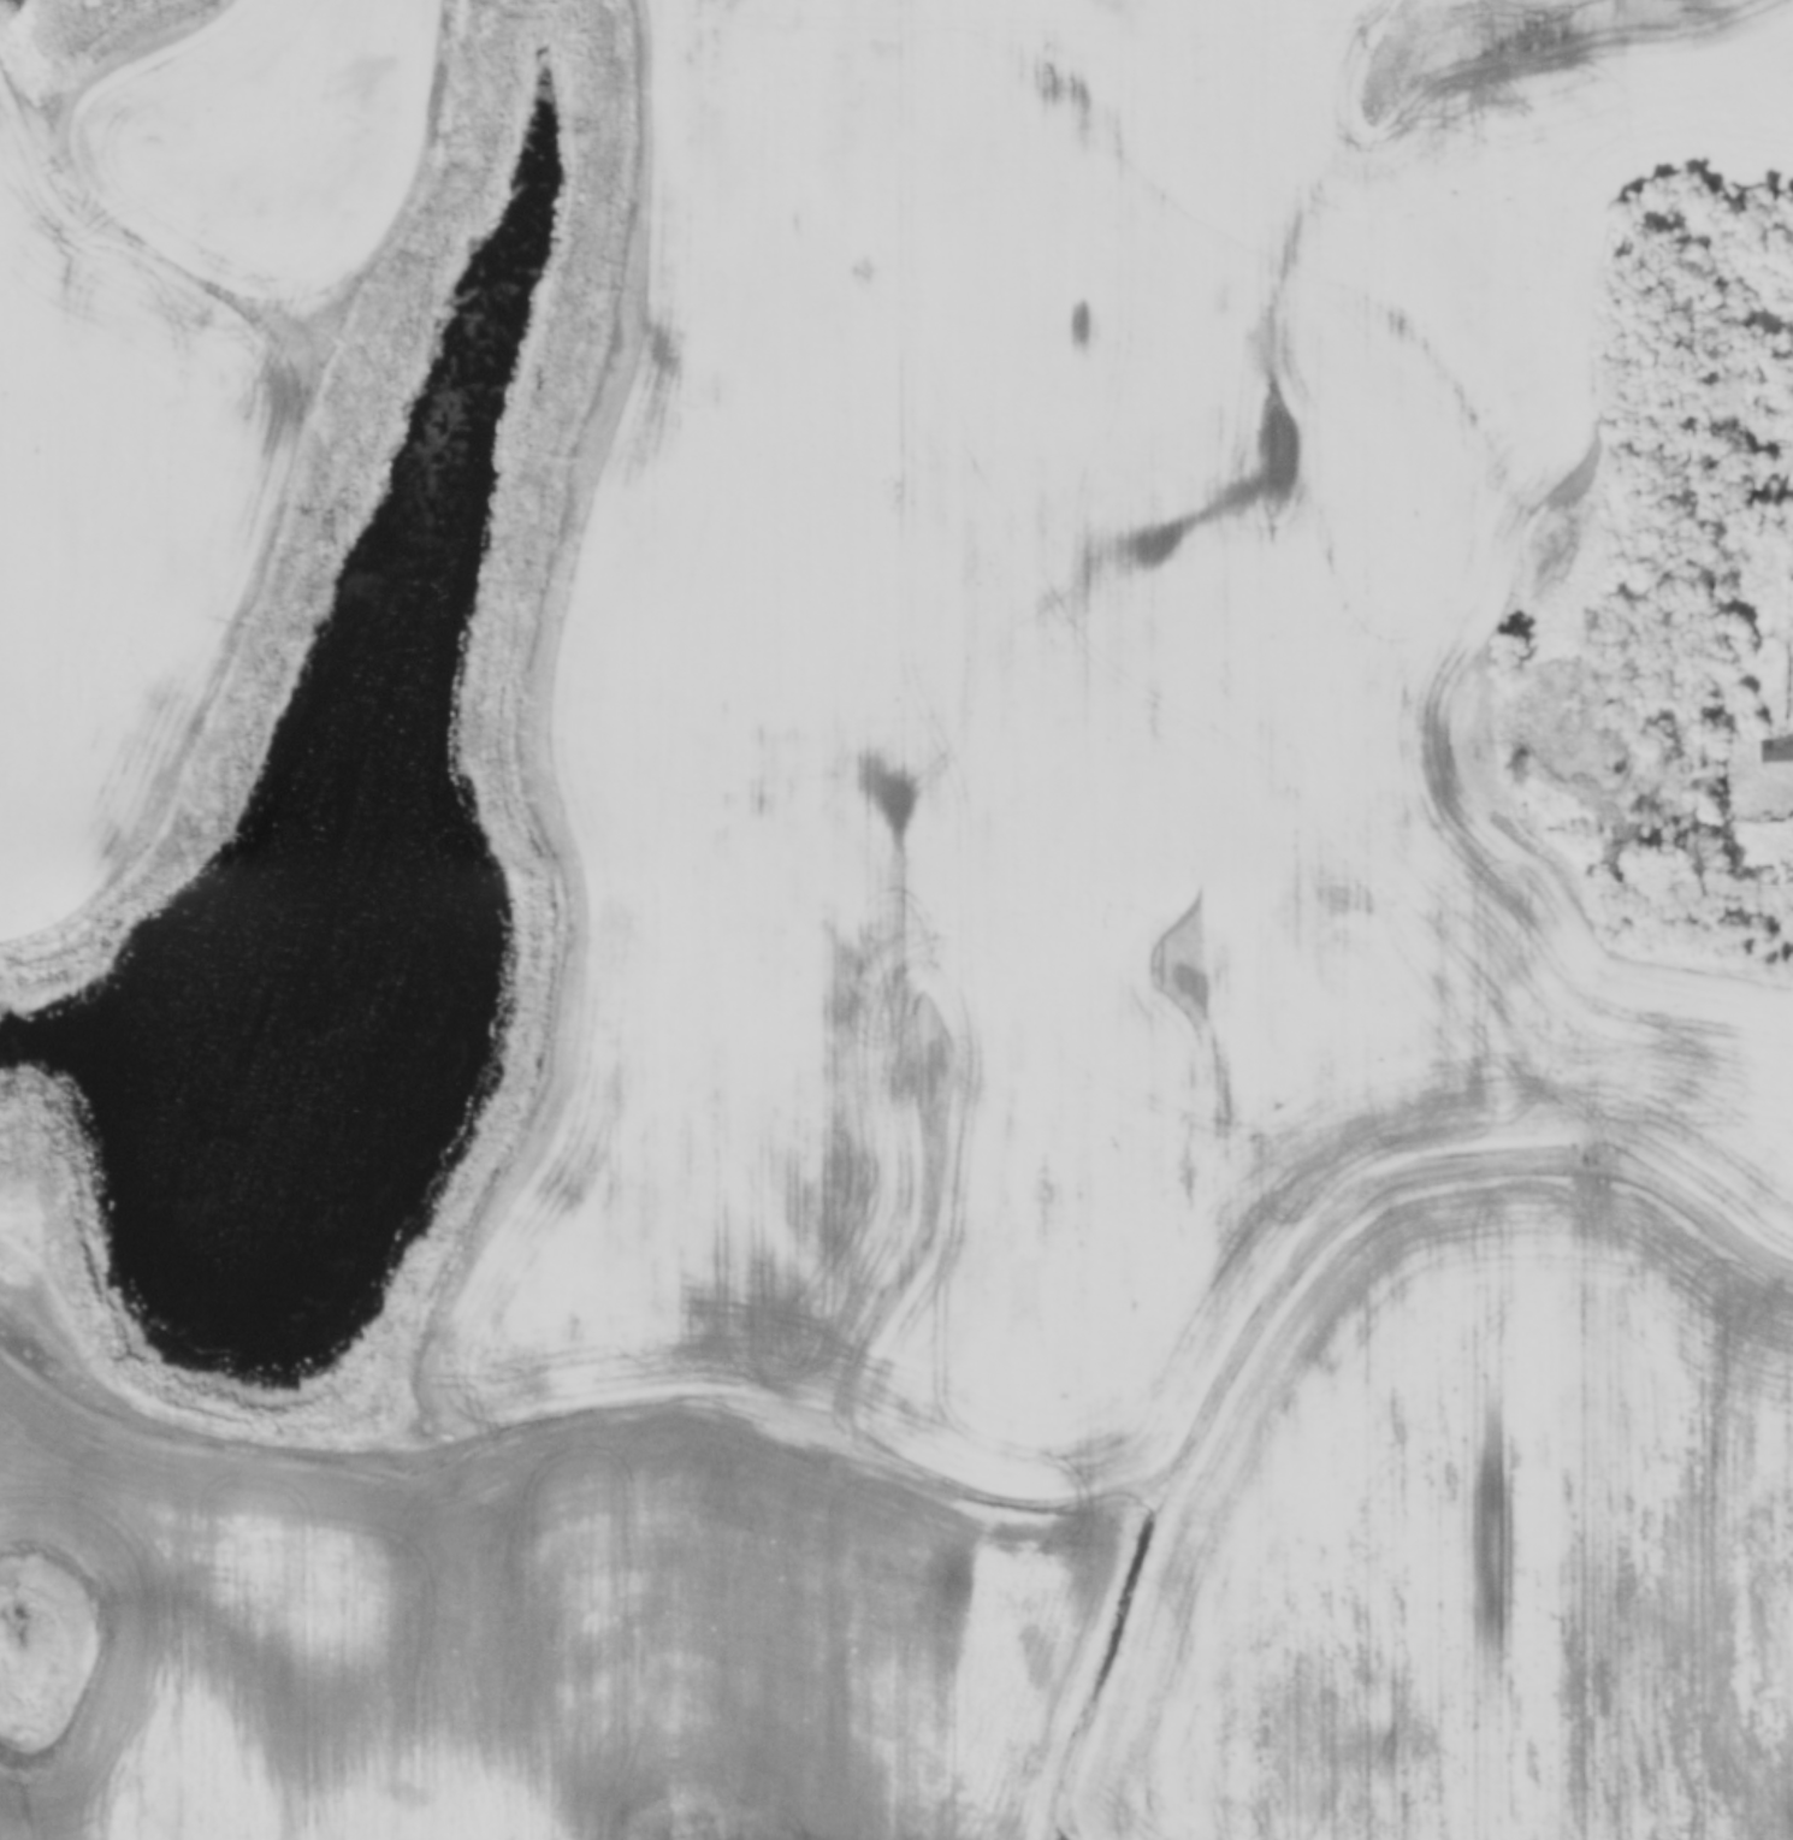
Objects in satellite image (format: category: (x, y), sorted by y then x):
road: (1786, 320)
building: (1775, 750)

